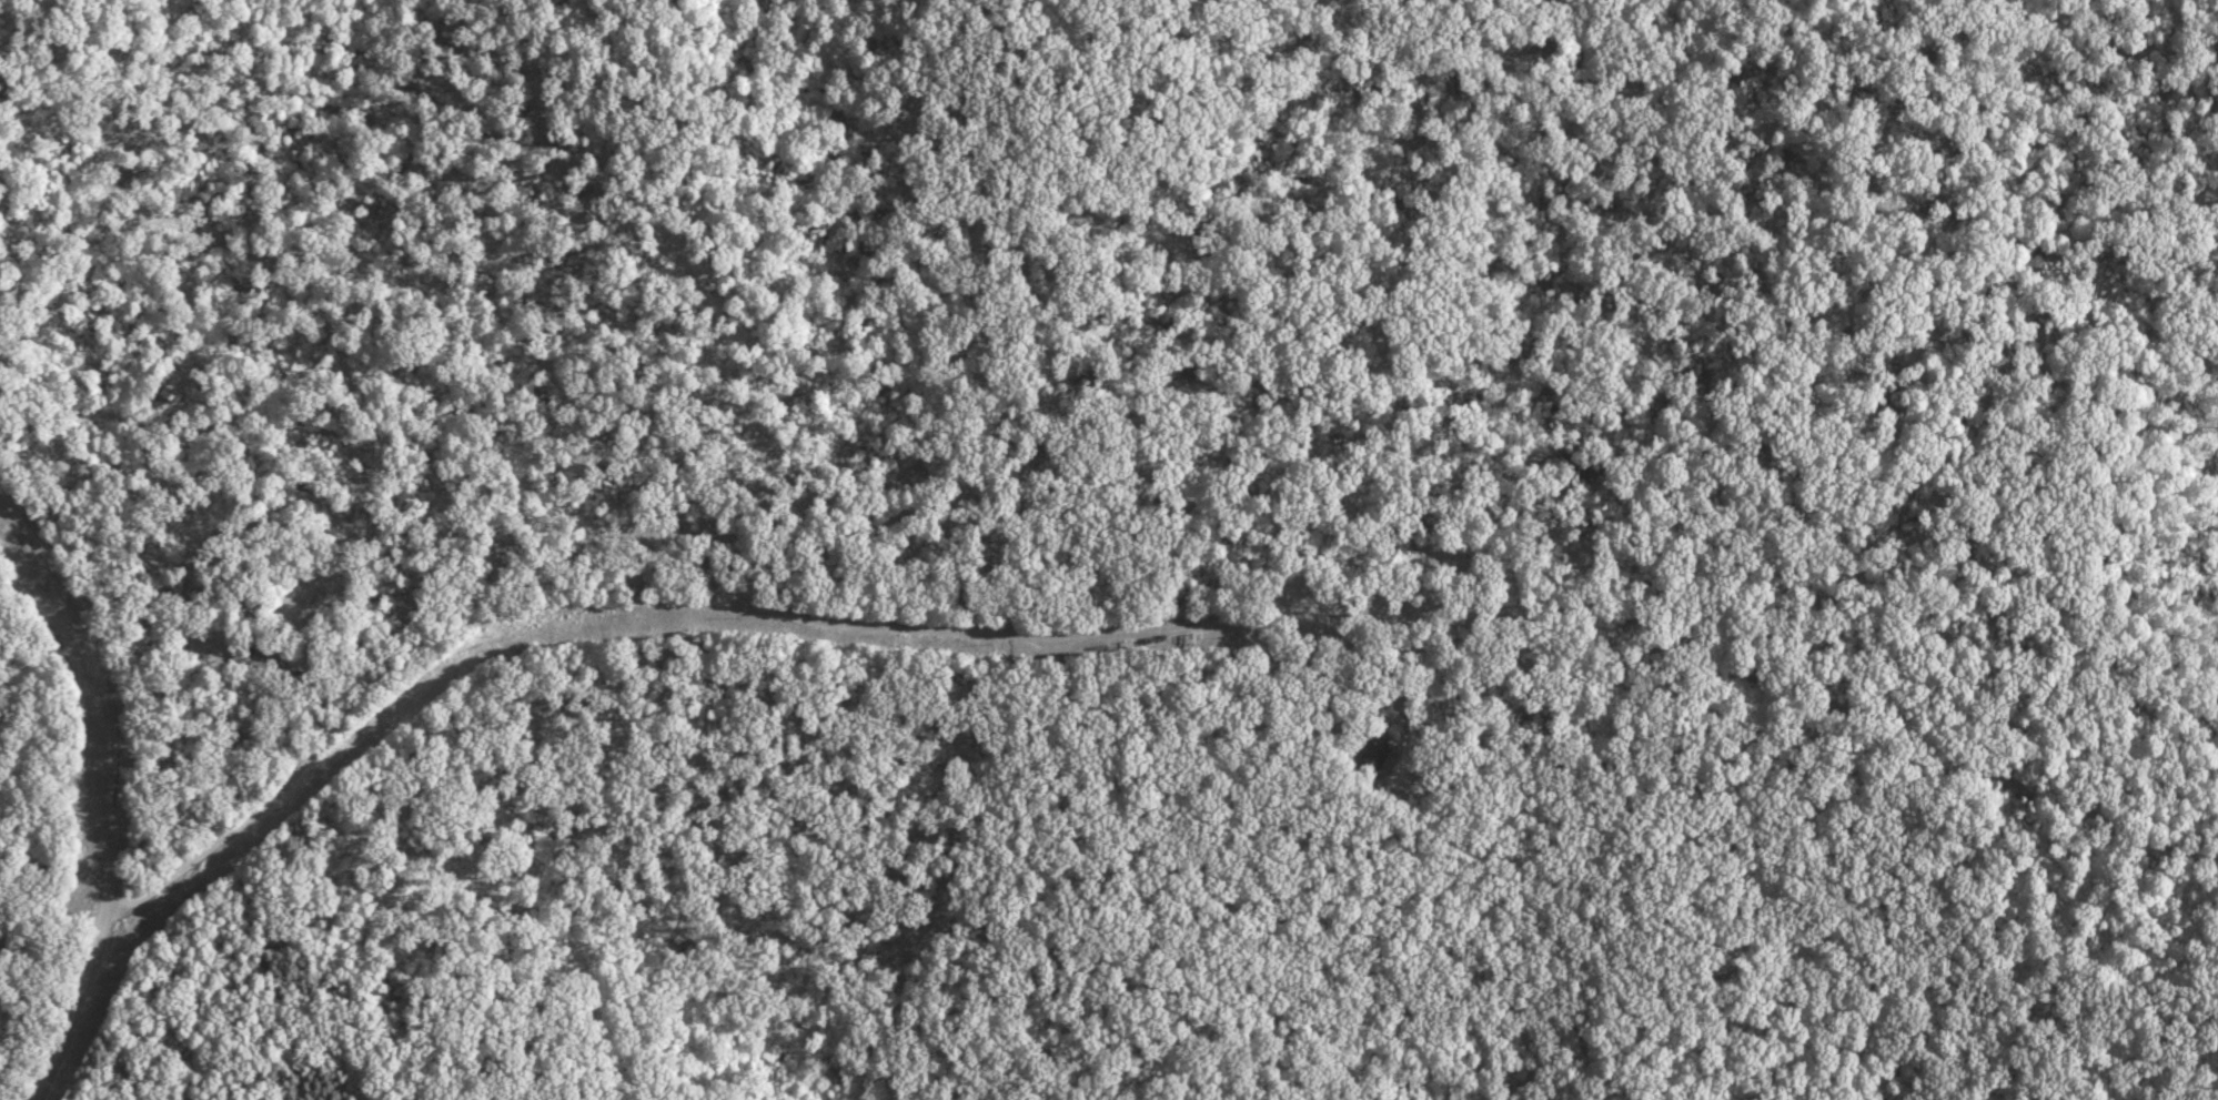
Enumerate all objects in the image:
road: (896, 533)
road: (783, 608)
building: (256, 662)
road: (125, 785)

